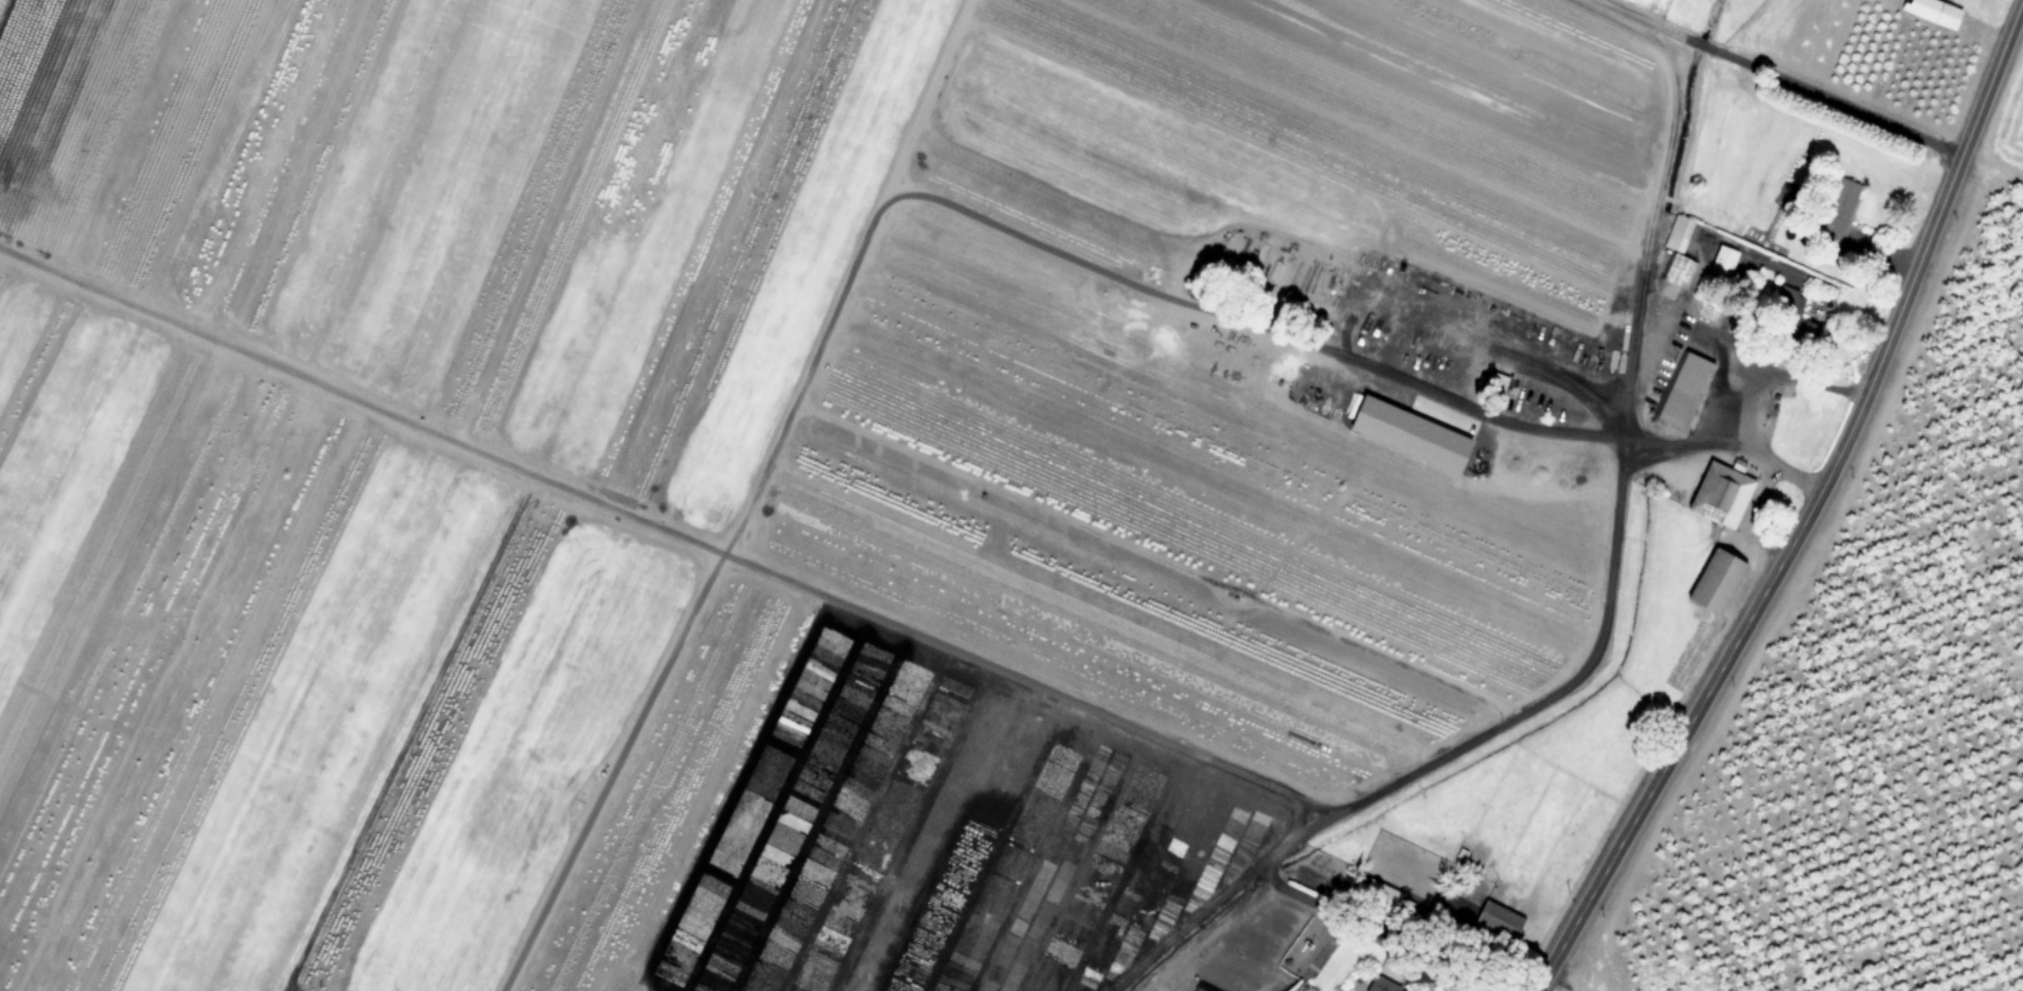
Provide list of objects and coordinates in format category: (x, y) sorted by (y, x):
building: (1934, 11)
road: (1781, 76)
crop: (2011, 126)
building: (1836, 205)
road: (1647, 237)
building: (1678, 252)
building: (1722, 260)
building: (1809, 333)
road: (1414, 380)
building: (1495, 380)
building: (1683, 389)
crop: (867, 471)
building: (1720, 494)
road: (1809, 510)
building: (1715, 580)
road: (1447, 761)
building: (1497, 919)
road: (1465, 963)
building: (1382, 984)

